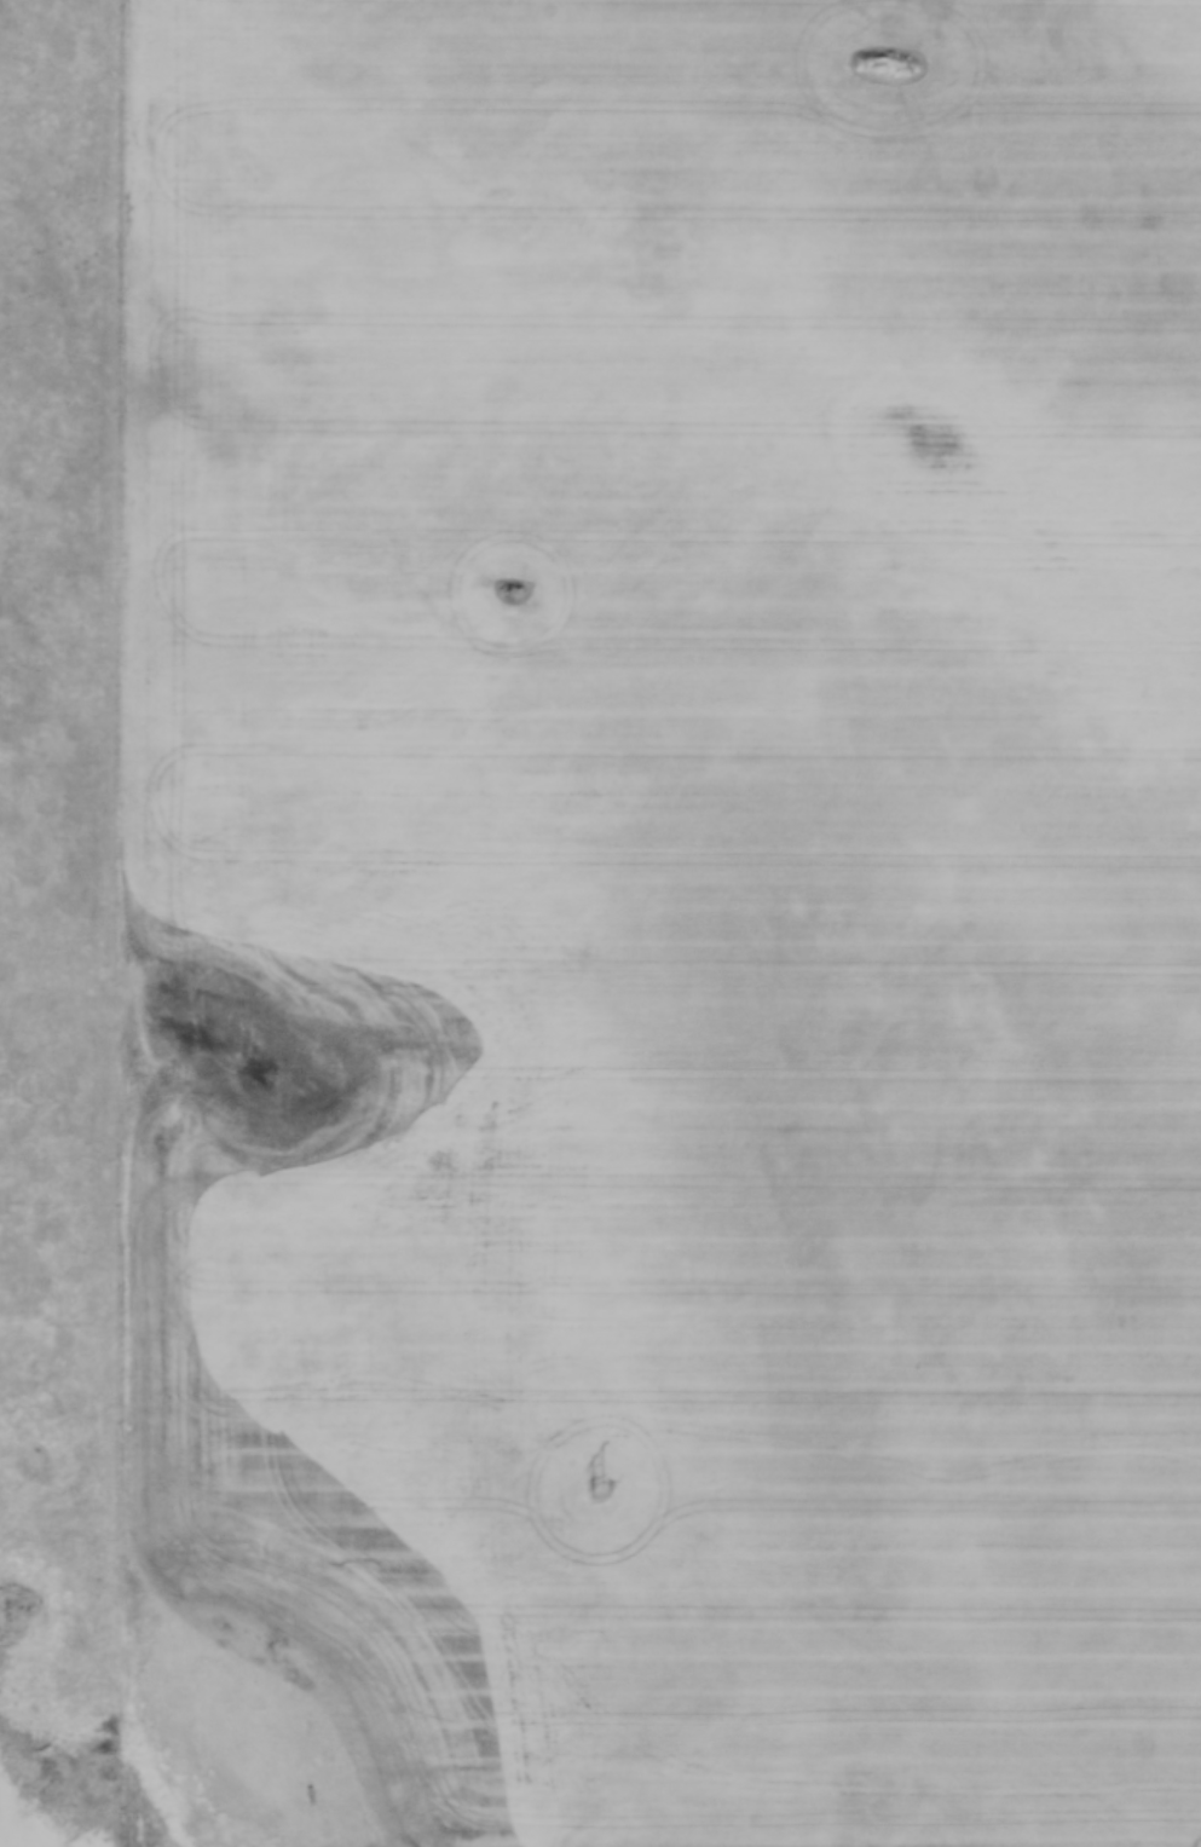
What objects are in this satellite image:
power tower: (596, 1488)

